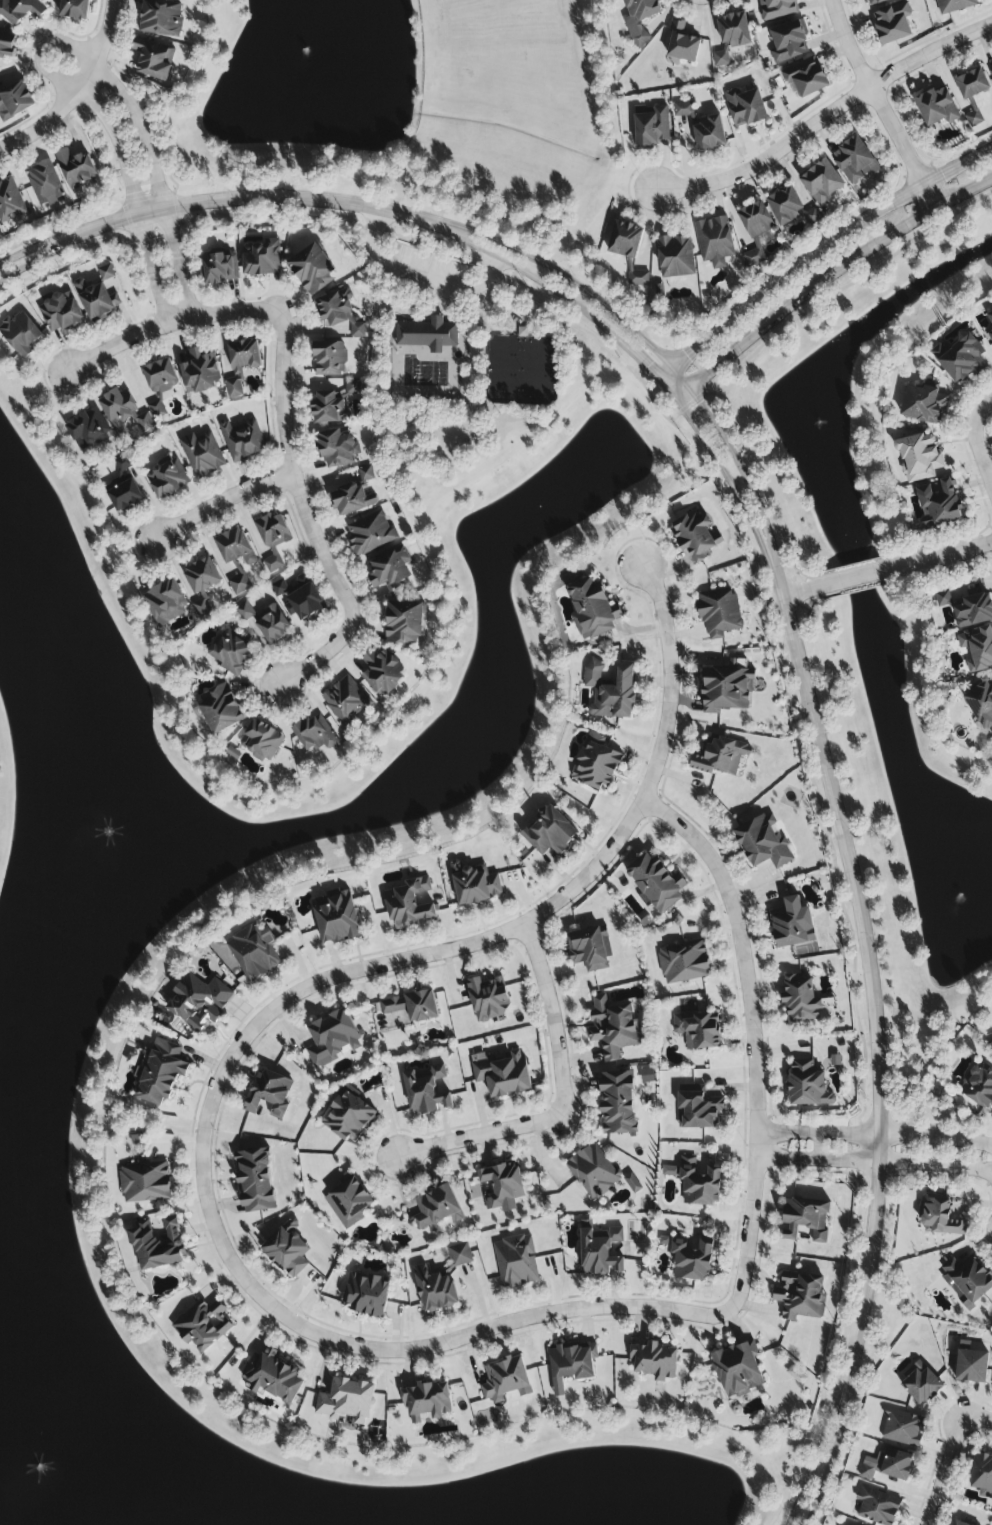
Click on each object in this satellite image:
building: (875, 2)
building: (955, 6)
building: (75, 9)
building: (776, 9)
building: (20, 10)
building: (160, 18)
building: (639, 18)
building: (893, 24)
road: (105, 34)
building: (731, 37)
building: (789, 42)
road: (49, 44)
building: (682, 44)
building: (7, 45)
fountain: (308, 48)
building: (153, 59)
building: (991, 74)
building: (805, 79)
building: (972, 93)
building: (15, 102)
road: (882, 103)
building: (936, 107)
building: (745, 108)
building: (683, 109)
road: (50, 115)
road: (827, 118)
building: (651, 127)
building: (709, 134)
building: (854, 161)
building: (76, 169)
building: (821, 182)
building: (45, 184)
road: (253, 198)
building: (10, 201)
building: (785, 206)
building: (756, 232)
building: (714, 242)
road: (34, 249)
building: (628, 250)
road: (817, 251)
building: (675, 257)
building: (263, 260)
road: (34, 261)
road: (179, 261)
road: (150, 269)
building: (219, 269)
building: (312, 270)
road: (421, 273)
building: (106, 274)
road: (826, 276)
road: (576, 289)
road: (556, 290)
building: (98, 301)
building: (338, 312)
building: (60, 313)
road: (170, 320)
building: (988, 322)
building: (20, 334)
building: (427, 335)
building: (990, 336)
park: (464, 351)
building: (962, 355)
building: (329, 359)
building: (241, 365)
park: (525, 365)
building: (200, 371)
building: (160, 377)
building: (352, 388)
building: (924, 407)
building: (328, 408)
building: (158, 410)
building: (124, 412)
fountain: (808, 415)
road: (983, 416)
building: (87, 430)
road: (986, 434)
building: (242, 440)
building: (336, 448)
road: (984, 448)
building: (202, 455)
building: (920, 459)
road: (718, 463)
road: (739, 468)
building: (365, 474)
building: (167, 479)
road: (977, 485)
building: (124, 493)
building: (352, 500)
road: (221, 502)
building: (938, 506)
fountain: (530, 512)
road: (308, 516)
building: (370, 533)
building: (695, 536)
building: (273, 539)
building: (234, 547)
road: (955, 553)
road: (959, 560)
road: (869, 564)
building: (390, 570)
road: (797, 573)
building: (202, 576)
road: (864, 579)
building: (239, 584)
road: (874, 586)
road: (798, 597)
building: (299, 598)
building: (943, 599)
building: (164, 600)
road: (805, 606)
building: (592, 609)
building: (974, 611)
building: (244, 612)
building: (719, 614)
building: (404, 622)
building: (272, 625)
building: (977, 648)
building: (230, 652)
building: (382, 673)
building: (726, 690)
building: (610, 692)
building: (346, 701)
building: (981, 704)
building: (220, 709)
building: (315, 734)
building: (261, 741)
building: (235, 752)
building: (720, 756)
building: (596, 764)
building: (550, 833)
building: (764, 843)
fountain: (128, 858)
road: (588, 873)
fountain: (976, 882)
building: (474, 885)
building: (409, 904)
building: (336, 918)
building: (793, 924)
building: (589, 948)
road: (871, 950)
building: (253, 953)
building: (684, 963)
building: (800, 998)
building: (488, 999)
building: (198, 1002)
building: (412, 1006)
road: (750, 1023)
building: (613, 1028)
building: (698, 1030)
building: (332, 1039)
building: (162, 1072)
building: (502, 1074)
building: (808, 1085)
building: (978, 1087)
building: (426, 1091)
building: (269, 1094)
building: (618, 1103)
road: (562, 1108)
building: (698, 1111)
building: (348, 1117)
road: (788, 1133)
road: (905, 1137)
road: (818, 1147)
road: (787, 1158)
road: (905, 1164)
building: (593, 1171)
building: (255, 1180)
building: (697, 1182)
building: (145, 1183)
building: (632, 1184)
building: (502, 1187)
building: (349, 1203)
building: (437, 1207)
building: (939, 1217)
building: (805, 1221)
building: (158, 1246)
building: (600, 1251)
building: (287, 1252)
building: (460, 1255)
building: (692, 1257)
building: (516, 1262)
building: (967, 1280)
building: (434, 1290)
building: (366, 1295)
building: (800, 1296)
building: (203, 1325)
road: (339, 1343)
building: (655, 1361)
building: (571, 1364)
building: (971, 1367)
building: (738, 1369)
building: (272, 1377)
building: (506, 1381)
building: (921, 1385)
building: (346, 1401)
building: (427, 1401)
road: (977, 1417)
building: (903, 1429)
road: (820, 1439)
road: (835, 1441)
fountain: (62, 1452)
building: (893, 1469)
road: (946, 1470)
building: (866, 1473)
building: (982, 1476)
building: (877, 1506)
building: (957, 1523)

